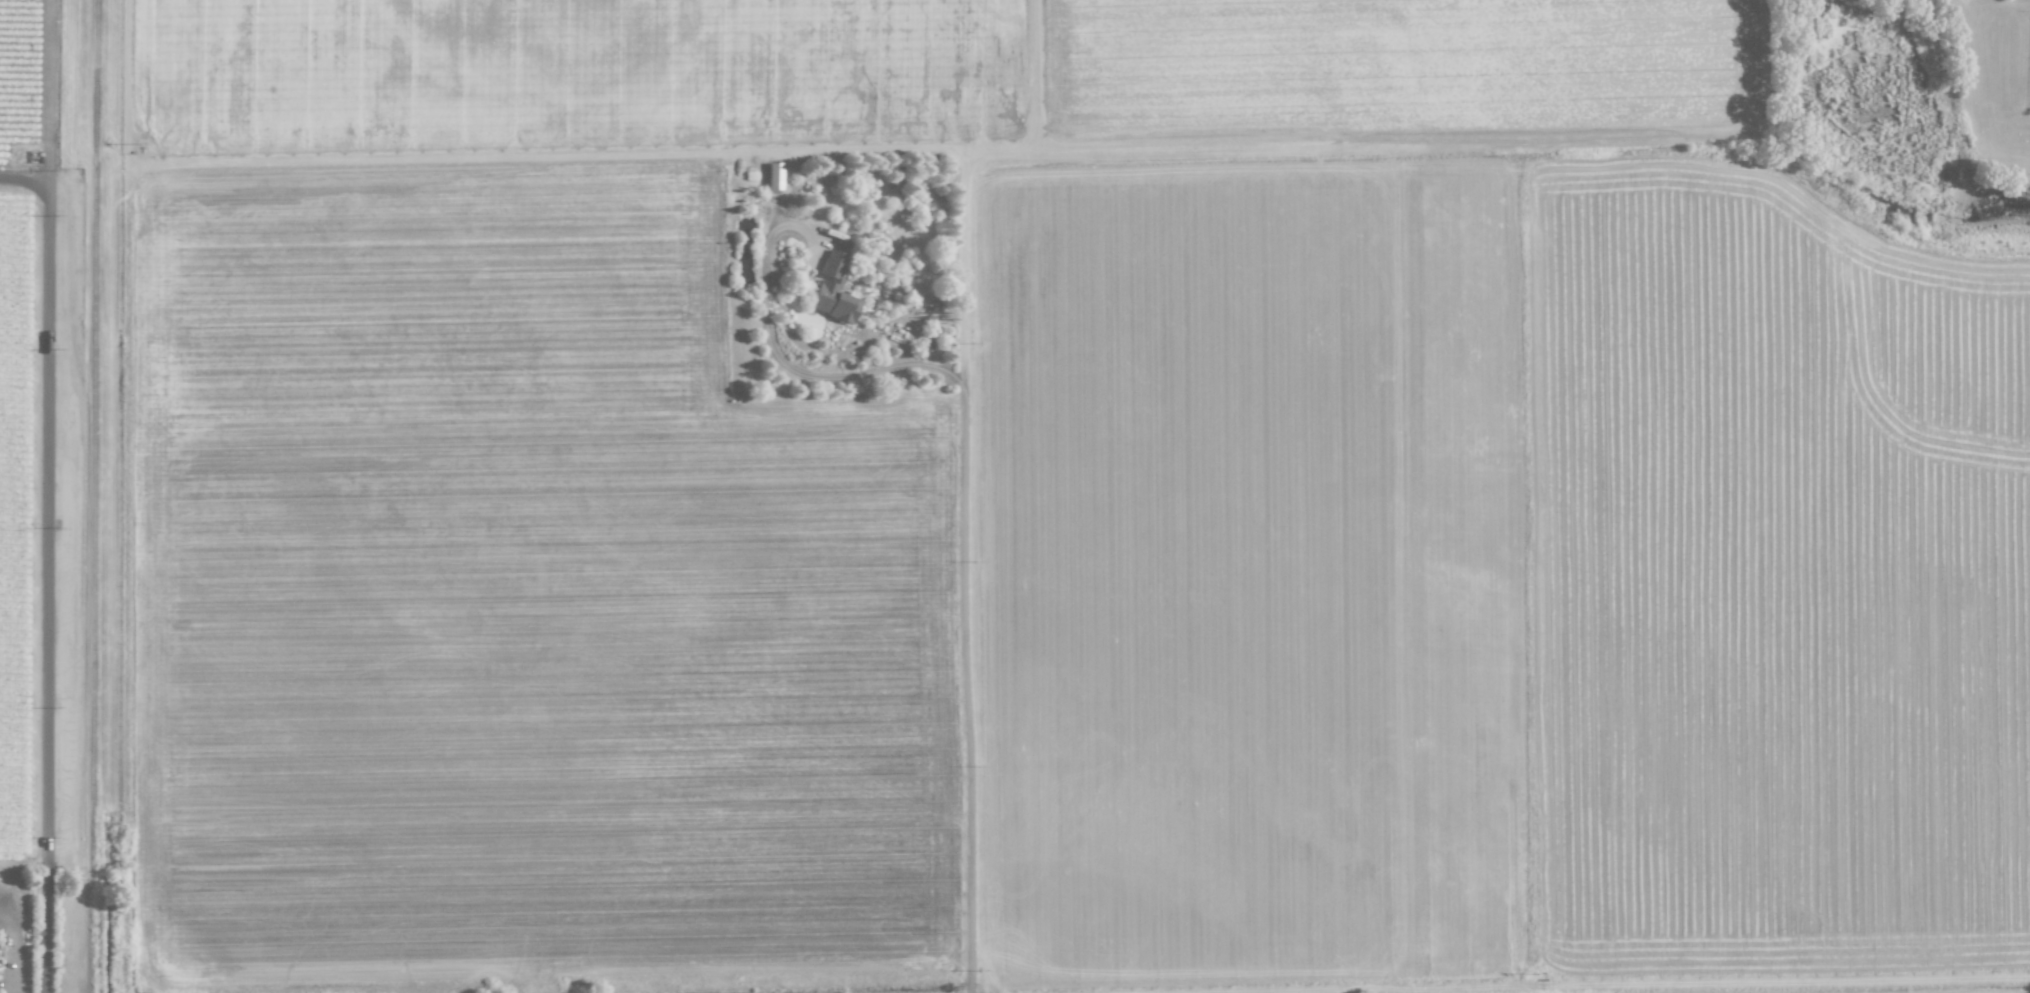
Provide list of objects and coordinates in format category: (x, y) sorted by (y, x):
road: (51, 90)
building: (774, 175)
road: (25, 179)
building: (833, 289)
road: (963, 504)
road: (47, 586)
road: (13, 941)

